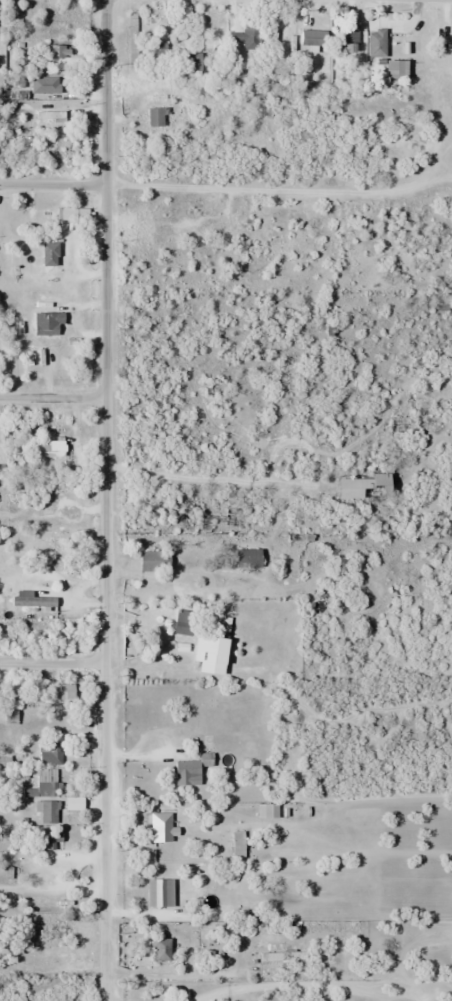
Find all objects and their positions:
building: (246, 37)
building: (311, 38)
building: (131, 40)
building: (345, 42)
building: (375, 43)
building: (155, 56)
building: (189, 63)
building: (393, 69)
building: (48, 84)
building: (154, 117)
road: (51, 185)
road: (103, 198)
building: (51, 213)
building: (48, 254)
building: (46, 324)
road: (51, 398)
building: (48, 448)
building: (360, 487)
building: (245, 558)
building: (153, 561)
building: (182, 621)
building: (210, 651)
road: (52, 660)
building: (65, 690)
road: (104, 699)
building: (49, 753)
building: (186, 773)
building: (47, 782)
building: (72, 803)
building: (47, 812)
building: (159, 826)
building: (46, 840)
building: (236, 844)
building: (159, 891)
building: (146, 950)

